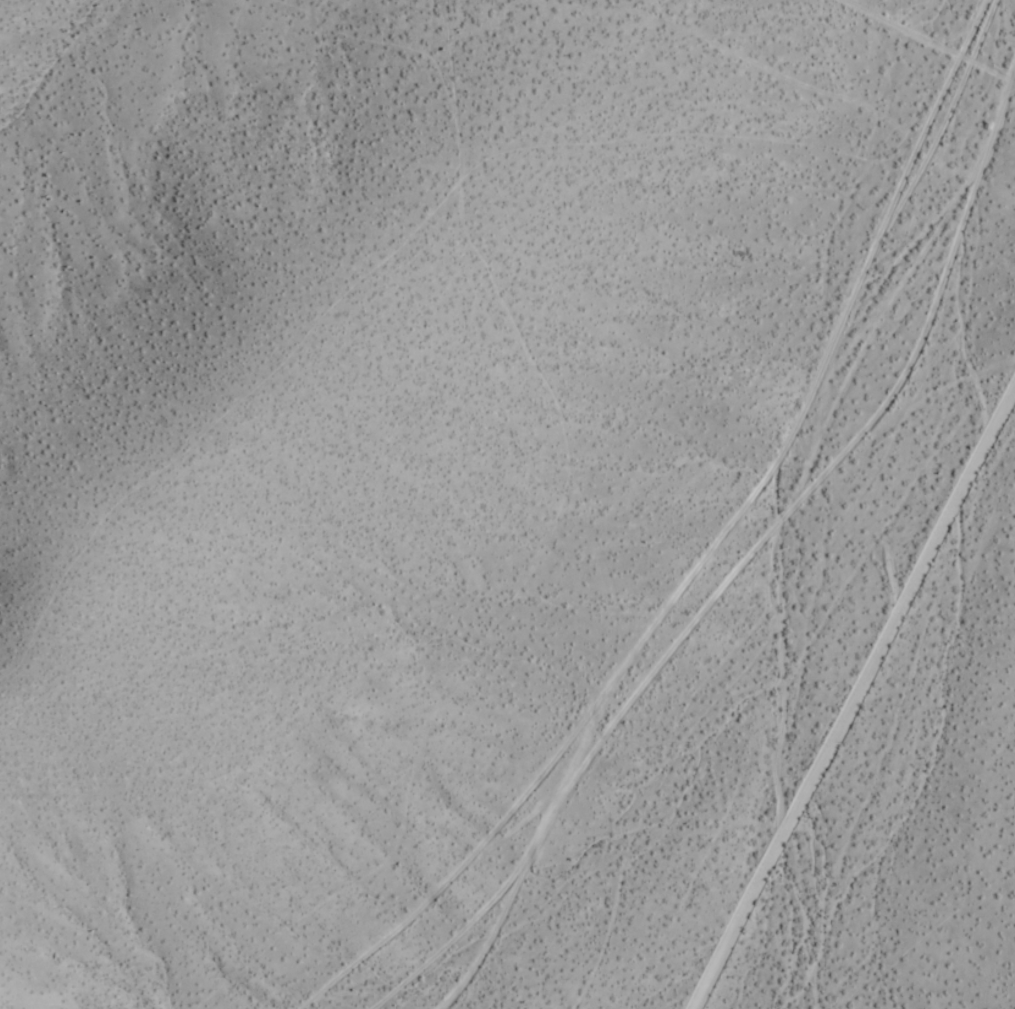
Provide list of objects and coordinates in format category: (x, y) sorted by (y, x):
road: (849, 692)

